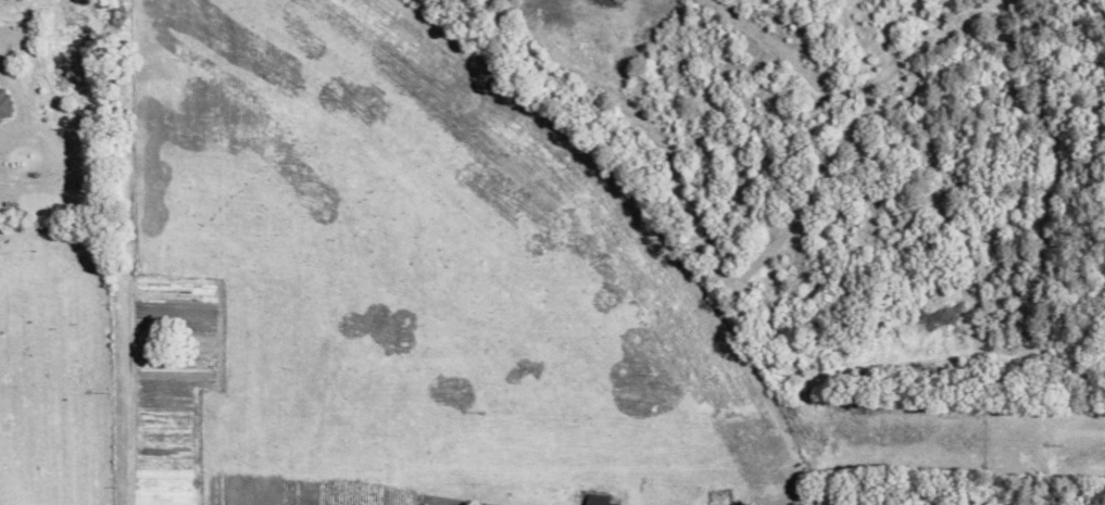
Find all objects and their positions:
building: (4, 103)
road: (102, 198)
road: (131, 405)
building: (599, 500)

